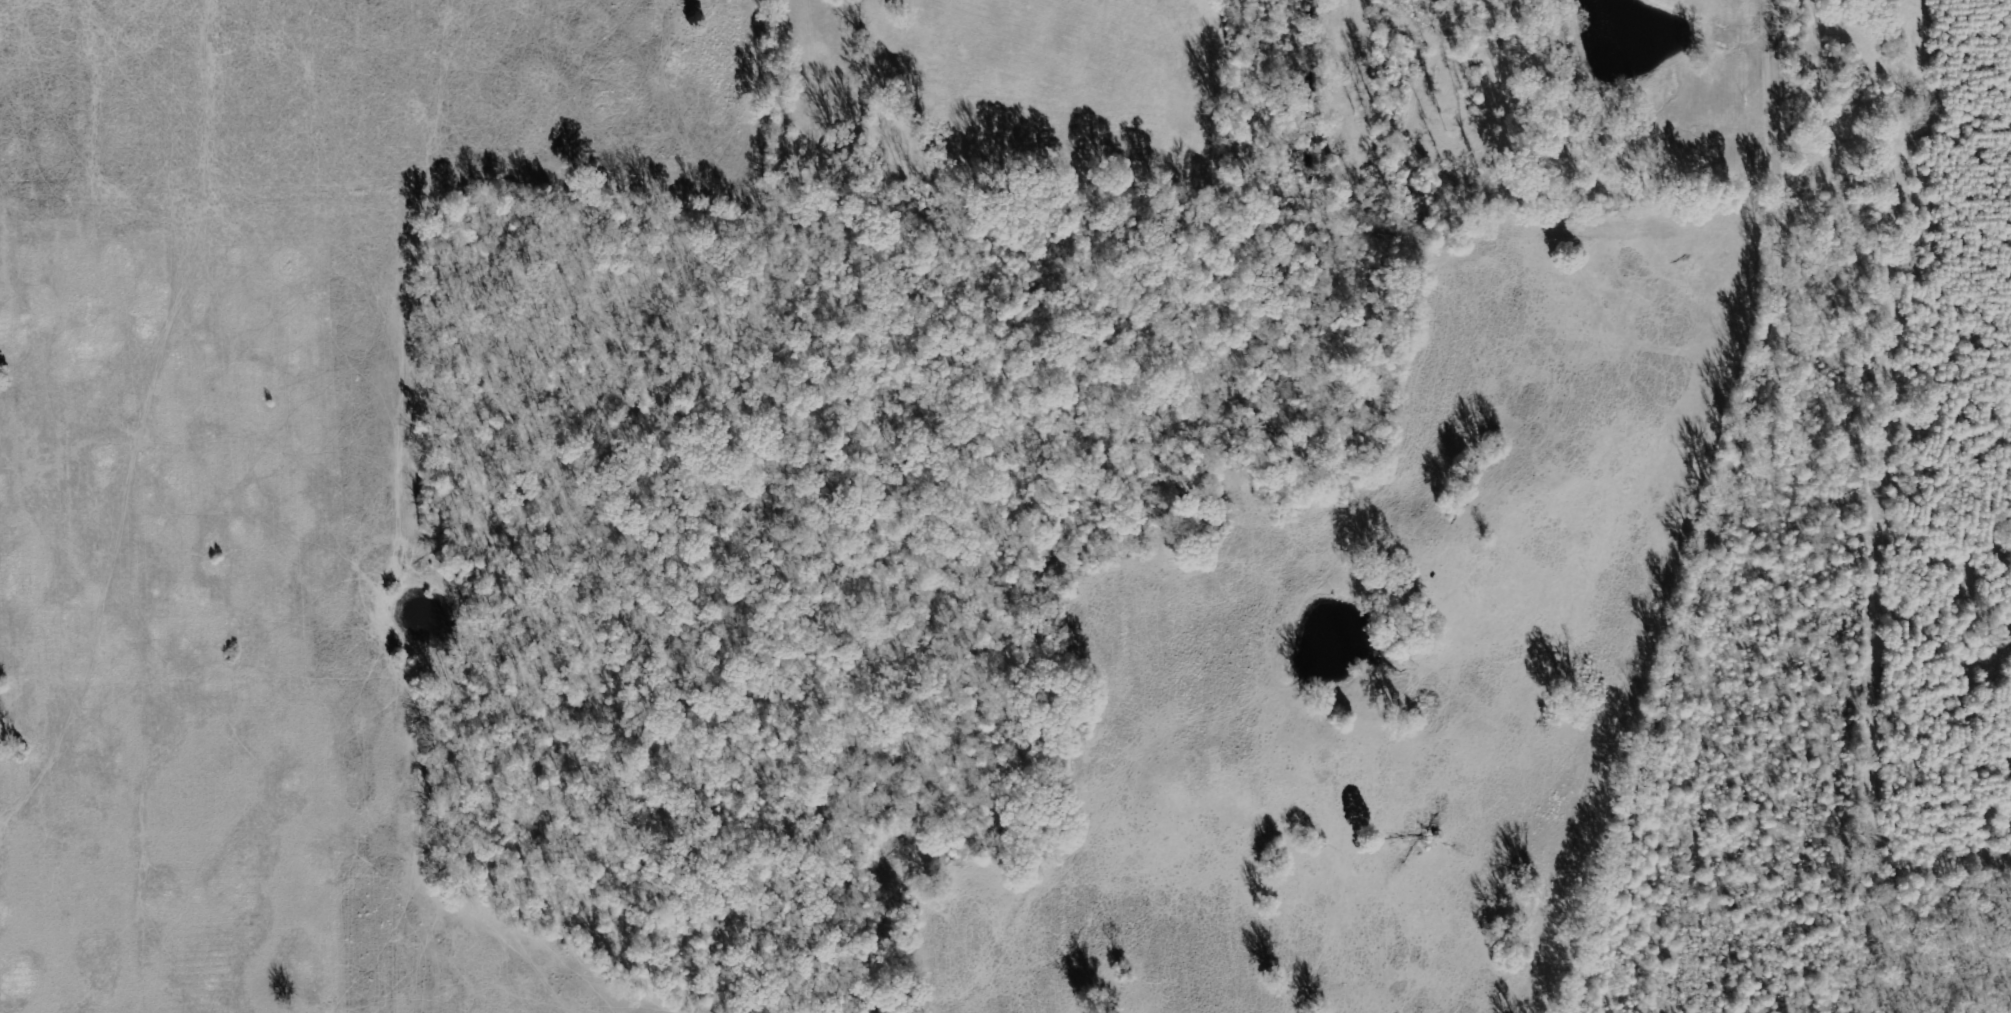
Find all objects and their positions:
road: (1727, 513)

